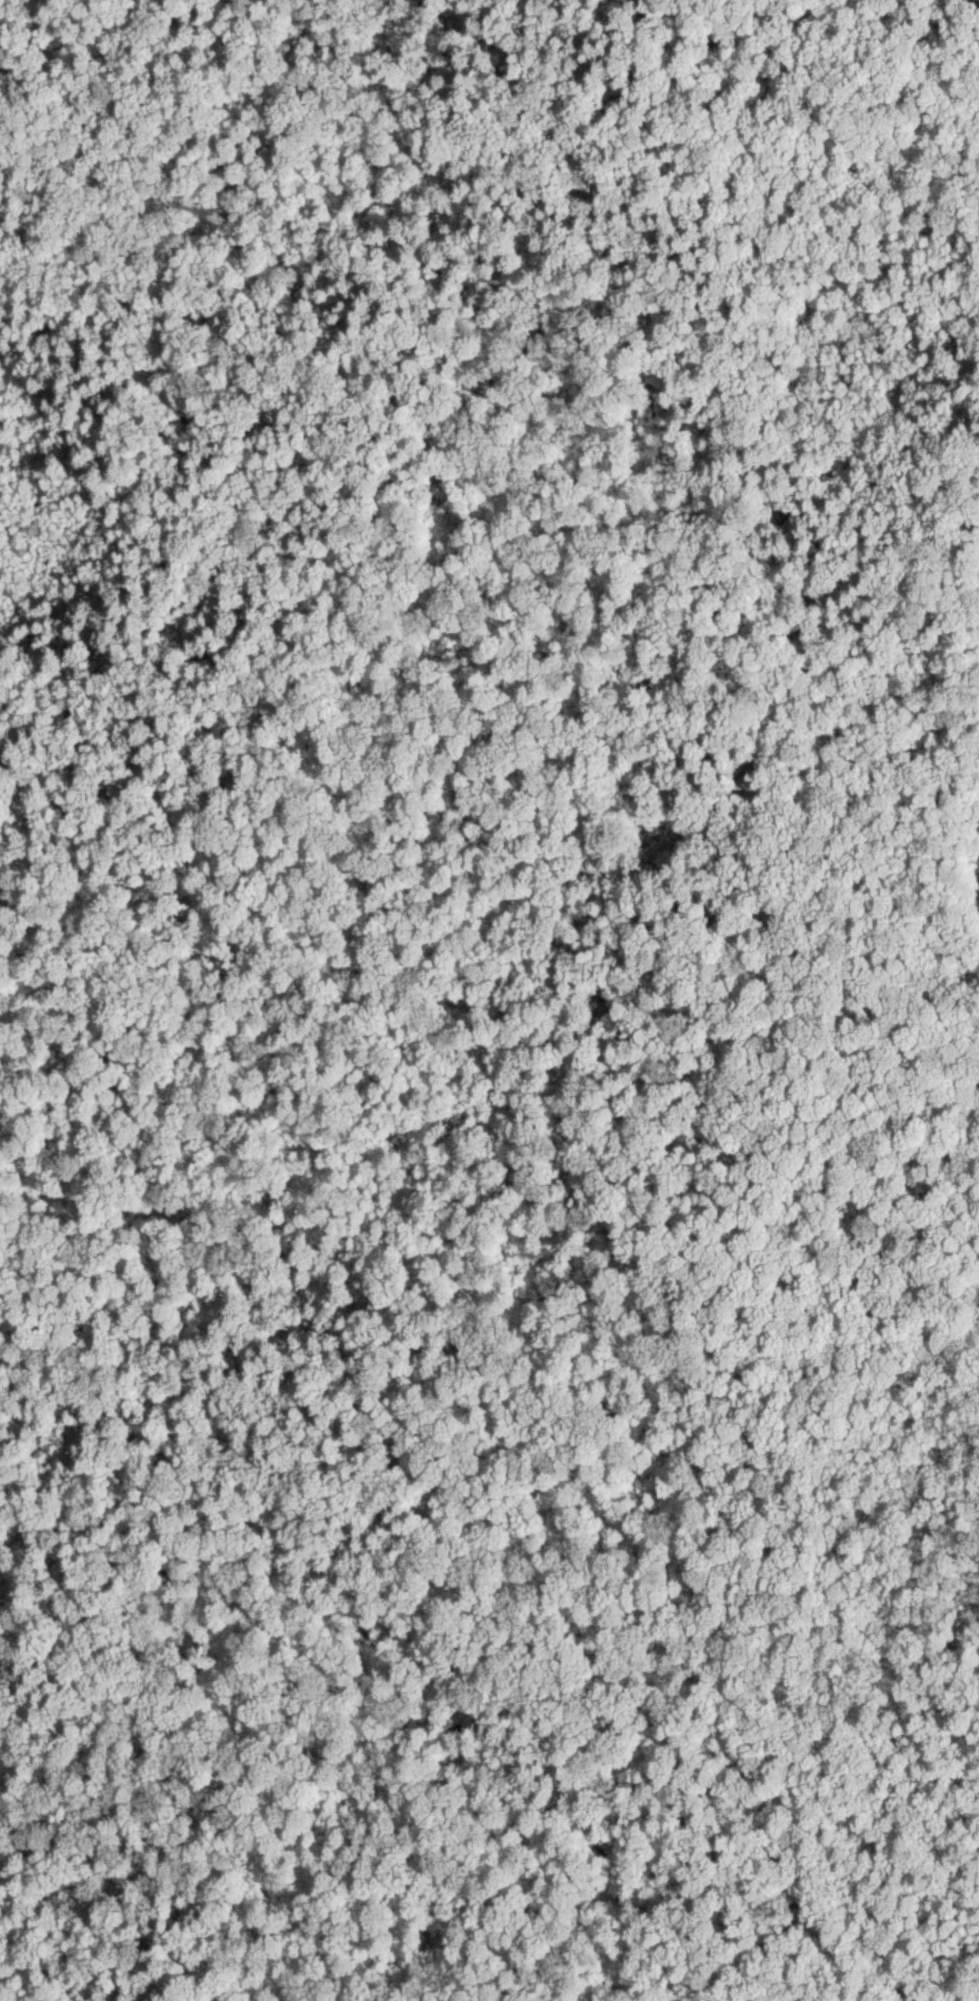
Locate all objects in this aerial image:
road: (462, 662)

